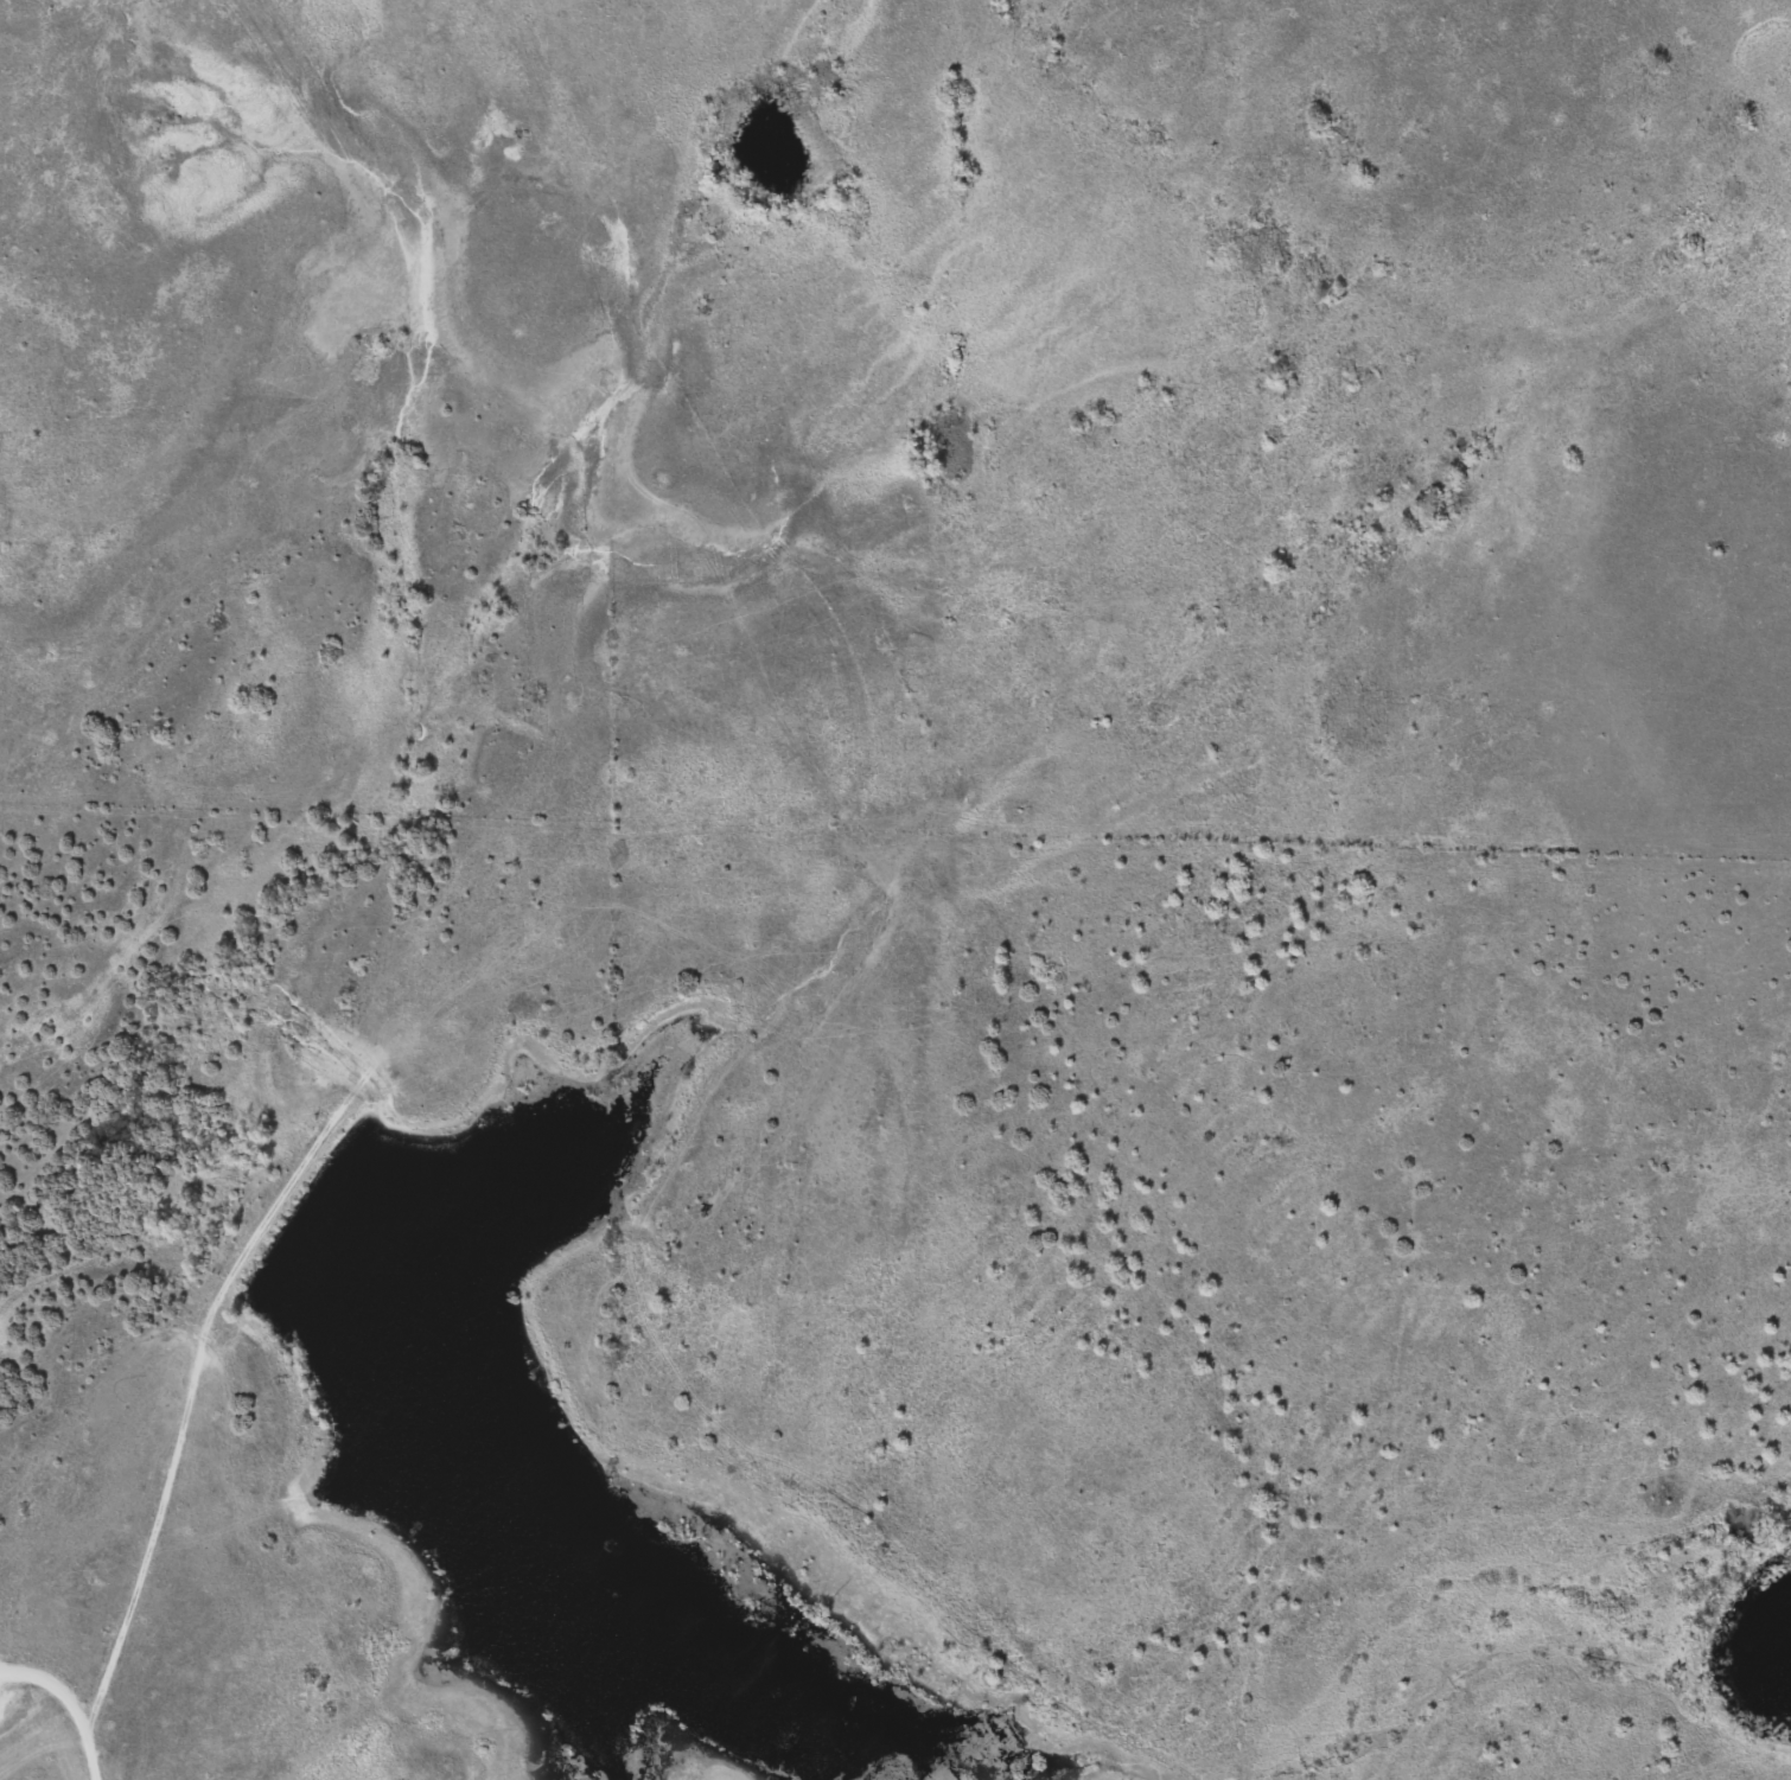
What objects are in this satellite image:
road: (362, 168)
road: (186, 1408)
road: (47, 1679)
road: (91, 1746)

